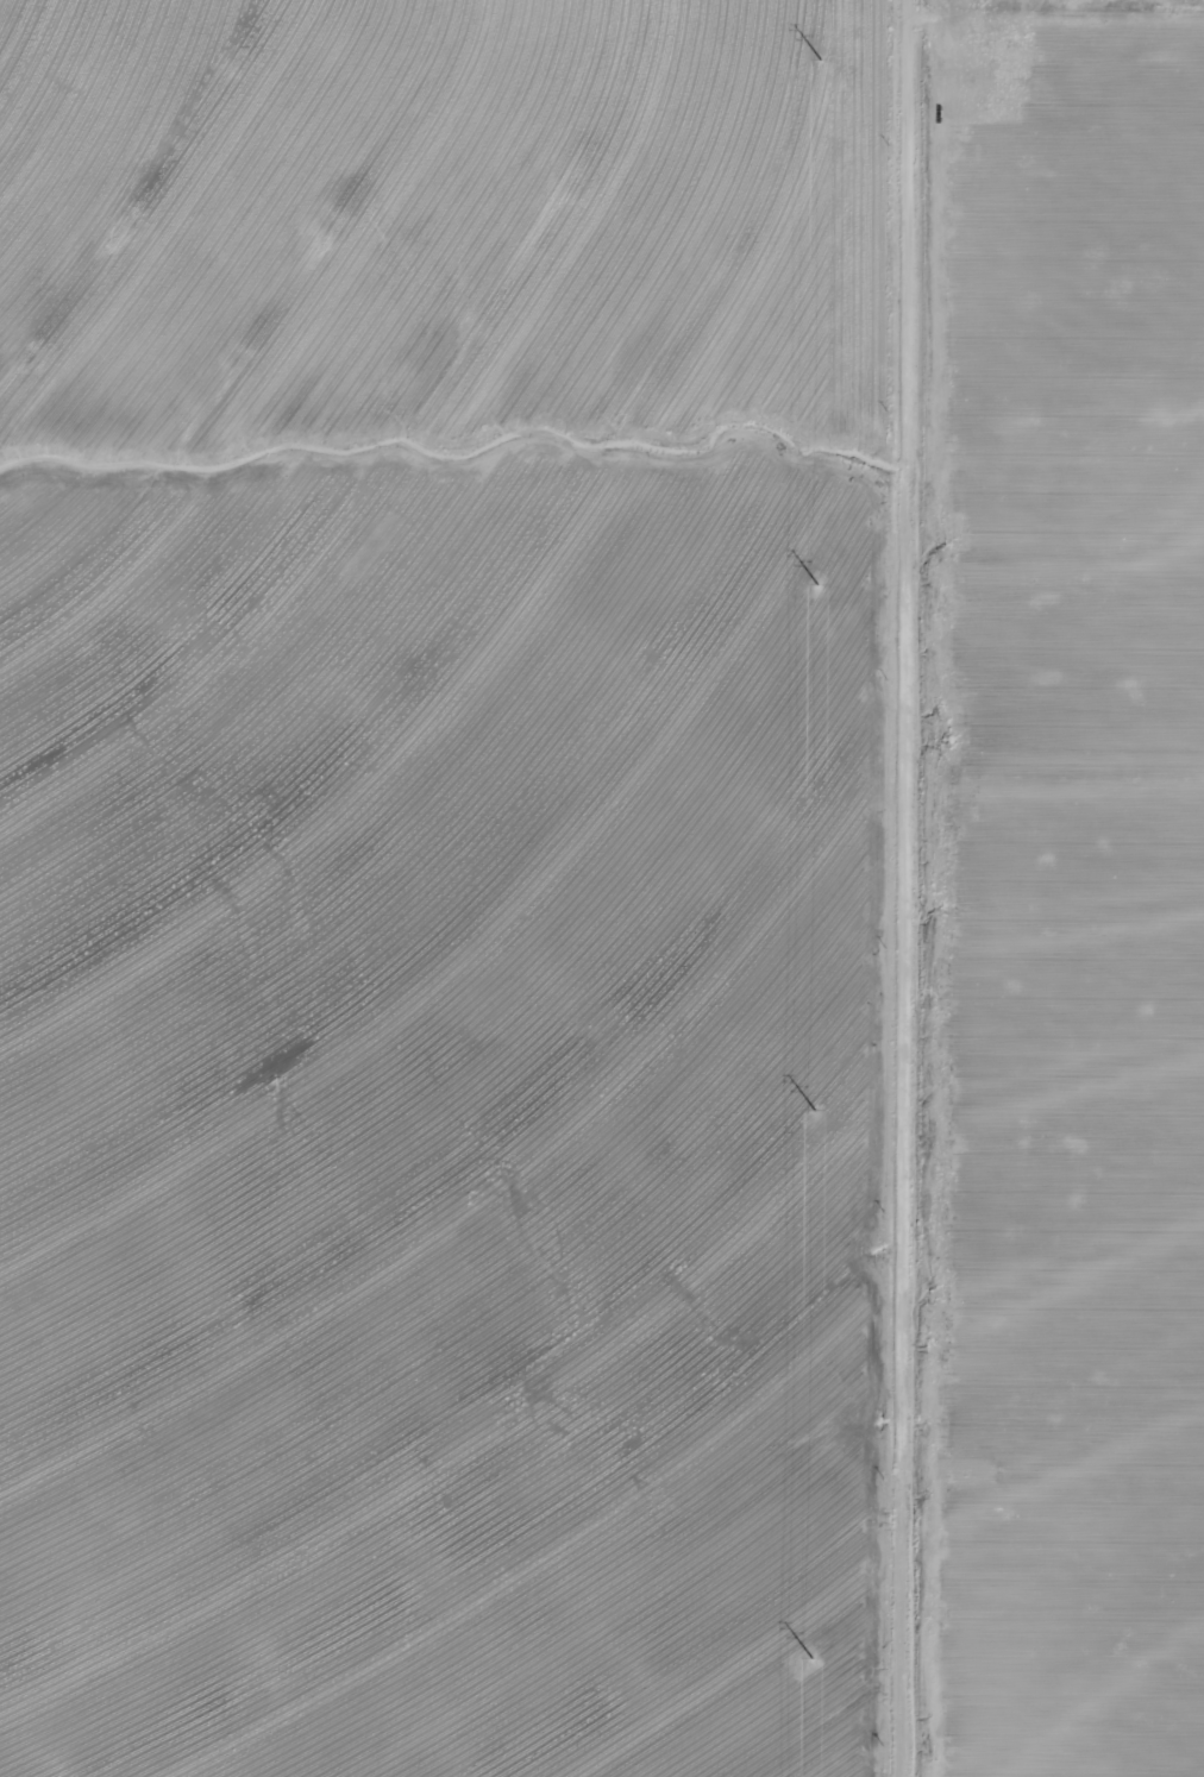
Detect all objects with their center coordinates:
road: (1053, 19)
power tower: (804, 62)
power tower: (799, 591)
road: (886, 888)
power tower: (799, 1112)
power tower: (797, 1657)

